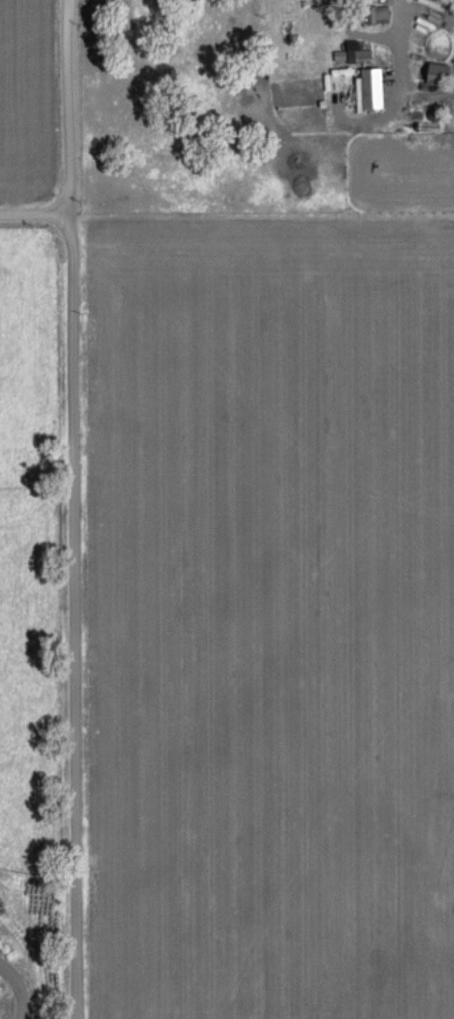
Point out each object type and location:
building: (379, 15)
road: (400, 47)
building: (357, 55)
building: (437, 76)
building: (368, 92)
road: (34, 215)
road: (68, 509)

